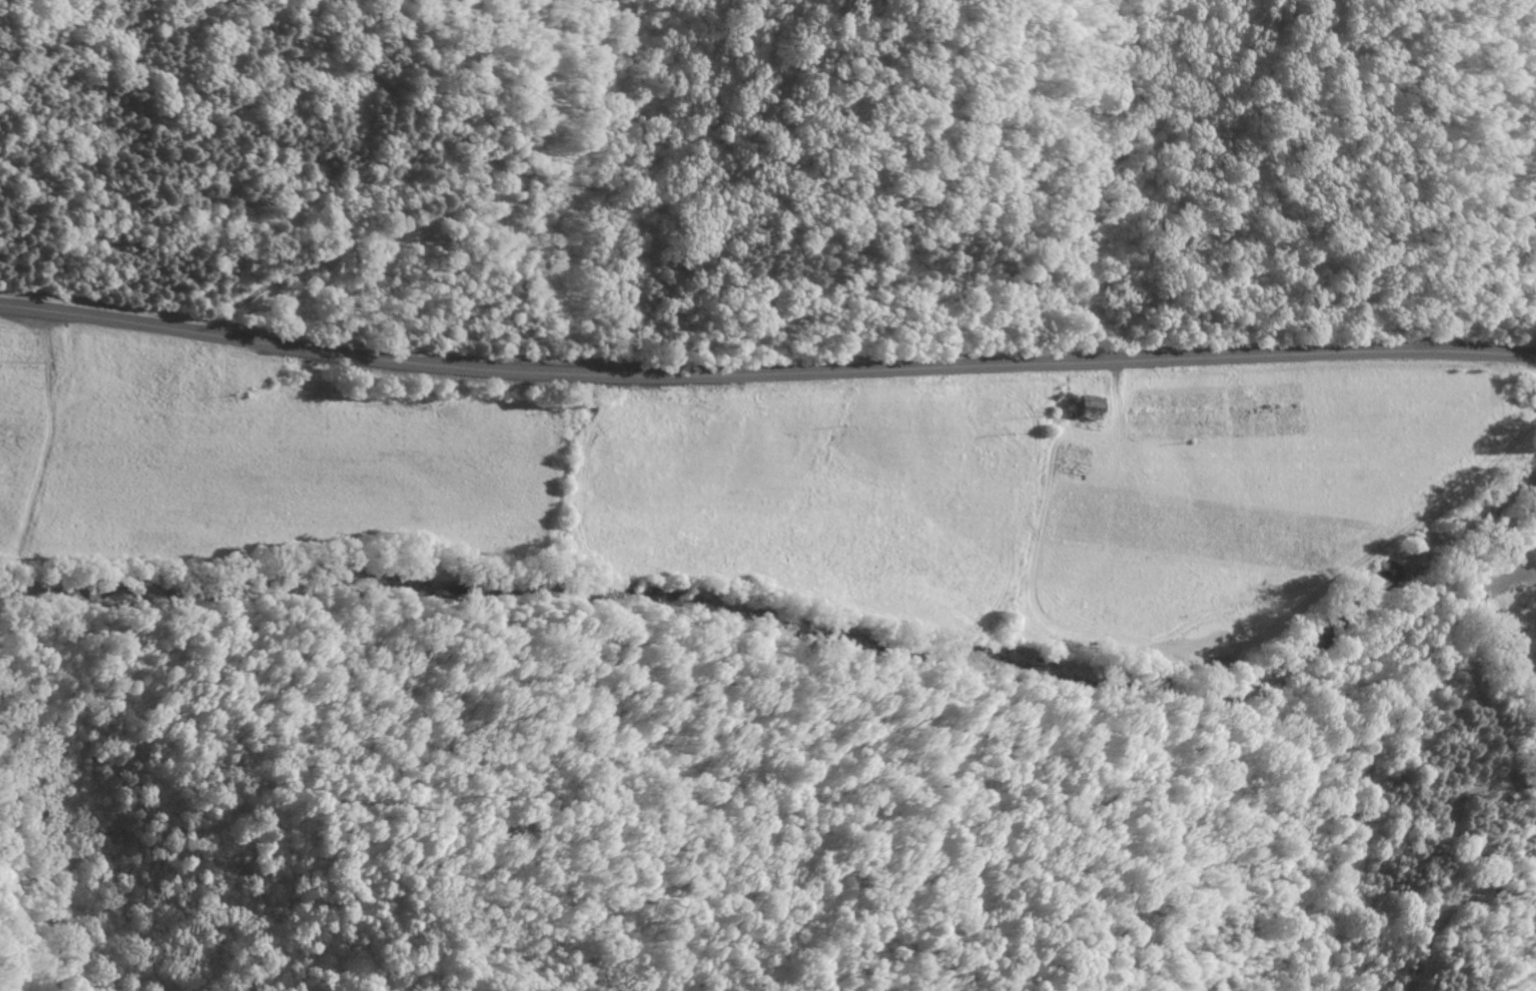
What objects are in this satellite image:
road: (765, 375)

